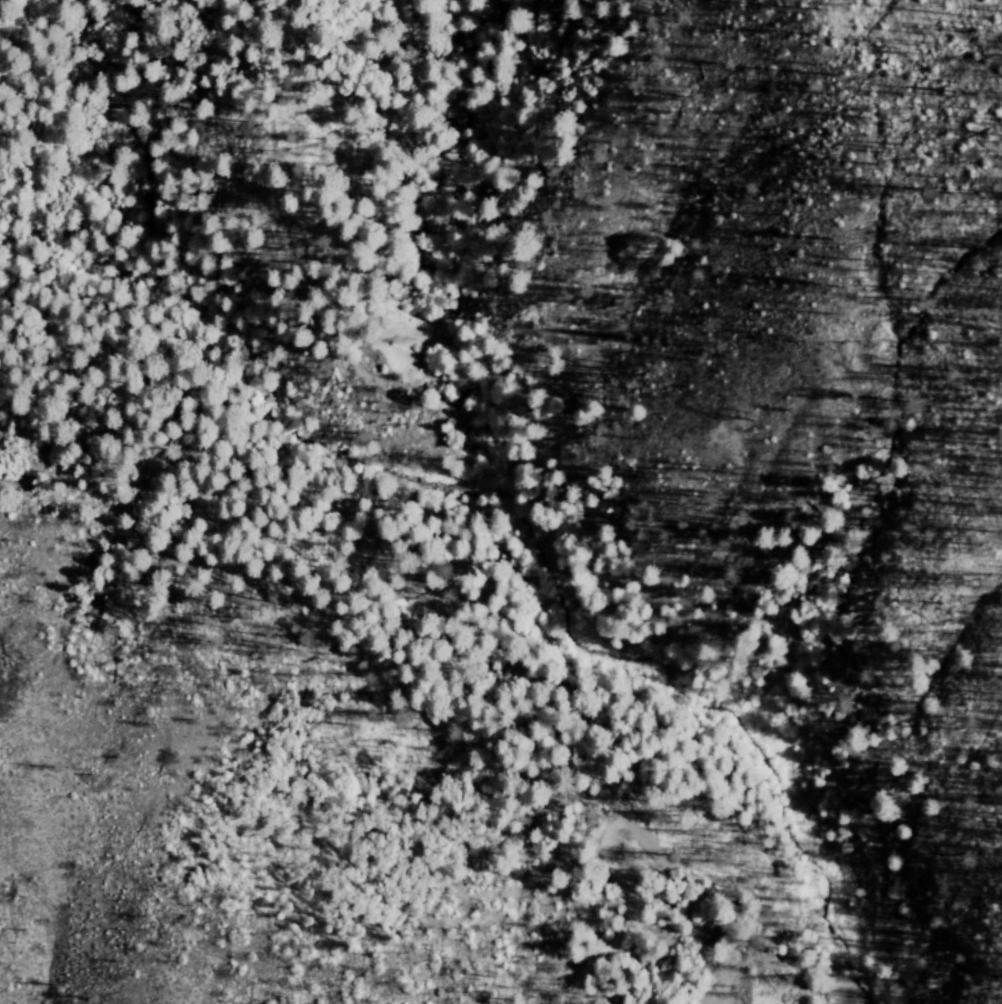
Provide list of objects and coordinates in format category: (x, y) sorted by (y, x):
road: (622, 837)

